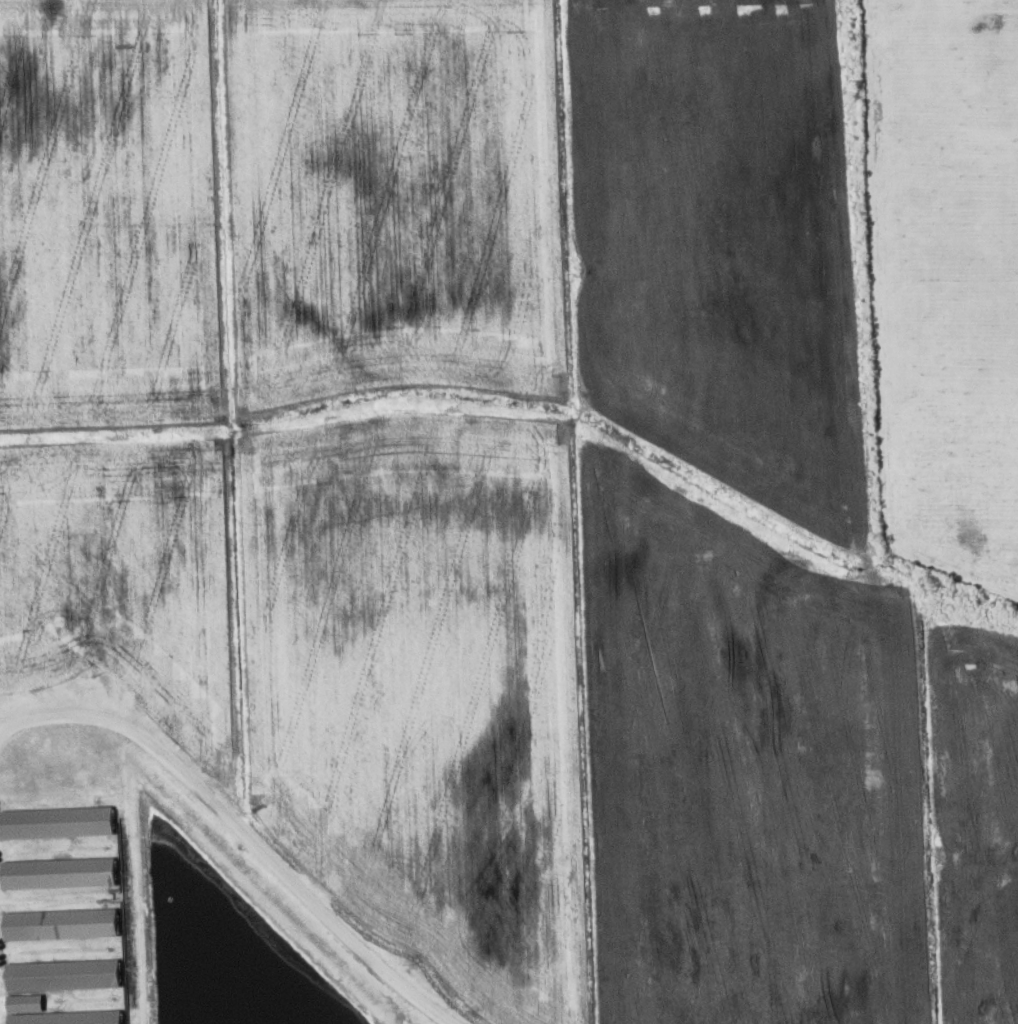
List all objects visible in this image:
building: (54, 821)
road: (241, 834)
building: (56, 871)
building: (57, 920)
building: (58, 972)
building: (21, 1001)
building: (64, 1017)

